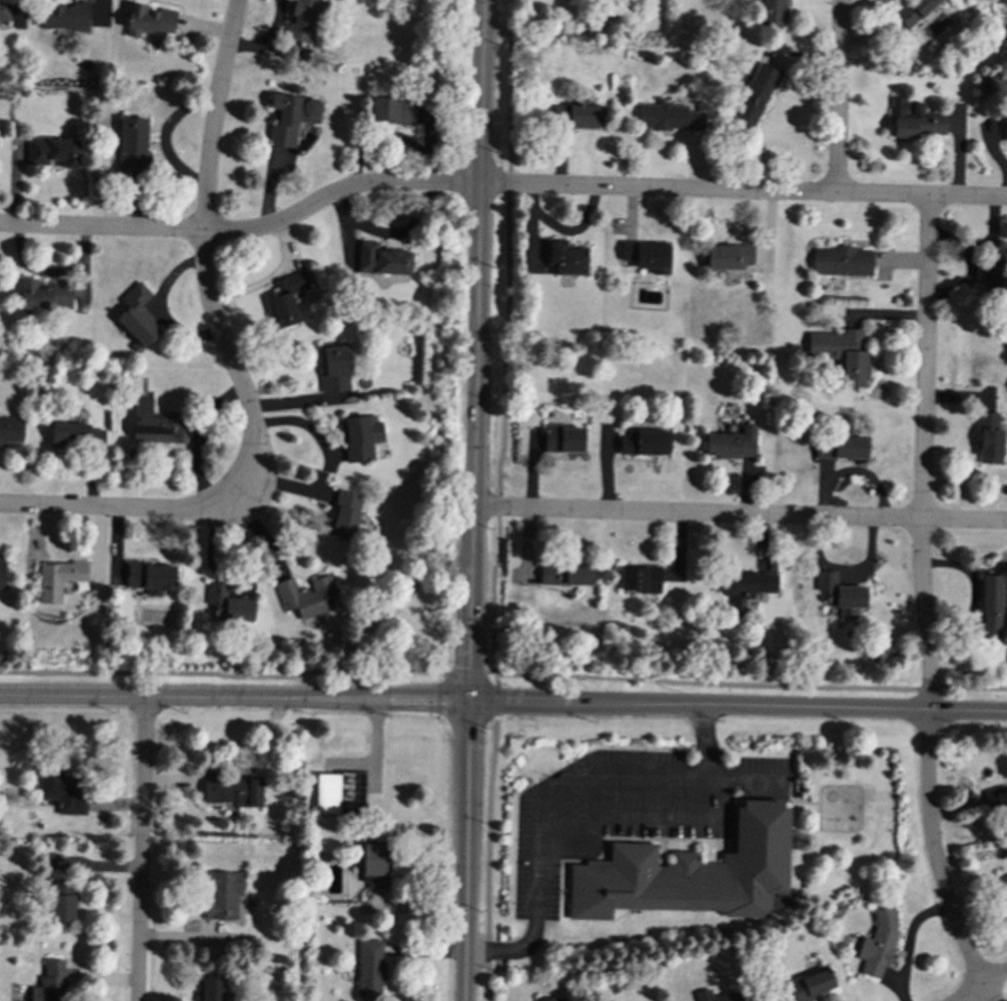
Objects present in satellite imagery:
building: (999, 1)
building: (4, 10)
building: (772, 12)
building: (913, 12)
building: (66, 16)
building: (302, 19)
building: (149, 20)
building: (755, 95)
road: (837, 96)
building: (392, 109)
building: (580, 116)
building: (668, 116)
building: (291, 117)
building: (914, 120)
building: (1006, 128)
building: (132, 145)
building: (53, 151)
road: (743, 192)
road: (244, 231)
road: (204, 237)
building: (646, 255)
building: (726, 256)
building: (566, 257)
building: (382, 259)
building: (841, 261)
building: (993, 279)
building: (45, 294)
building: (288, 300)
building: (137, 315)
building: (841, 352)
building: (333, 368)
road: (302, 423)
building: (155, 424)
building: (10, 429)
building: (360, 437)
building: (563, 439)
building: (989, 439)
building: (644, 442)
building: (731, 443)
road: (473, 500)
road: (496, 500)
road: (134, 510)
building: (345, 515)
road: (740, 515)
building: (2, 573)
building: (566, 574)
building: (151, 577)
building: (58, 579)
building: (639, 579)
building: (744, 587)
building: (841, 594)
building: (307, 596)
building: (227, 604)
road: (924, 605)
building: (991, 607)
road: (247, 675)
road: (751, 685)
road: (503, 703)
road: (635, 771)
building: (232, 789)
building: (336, 790)
building: (62, 791)
building: (999, 798)
road: (602, 815)
road: (140, 850)
building: (373, 864)
building: (692, 873)
building: (1004, 883)
building: (221, 894)
building: (62, 900)
building: (878, 942)
building: (369, 969)
building: (50, 982)
road: (981, 982)
building: (811, 985)
building: (210, 989)
building: (717, 996)
building: (547, 999)
building: (26, 1000)

